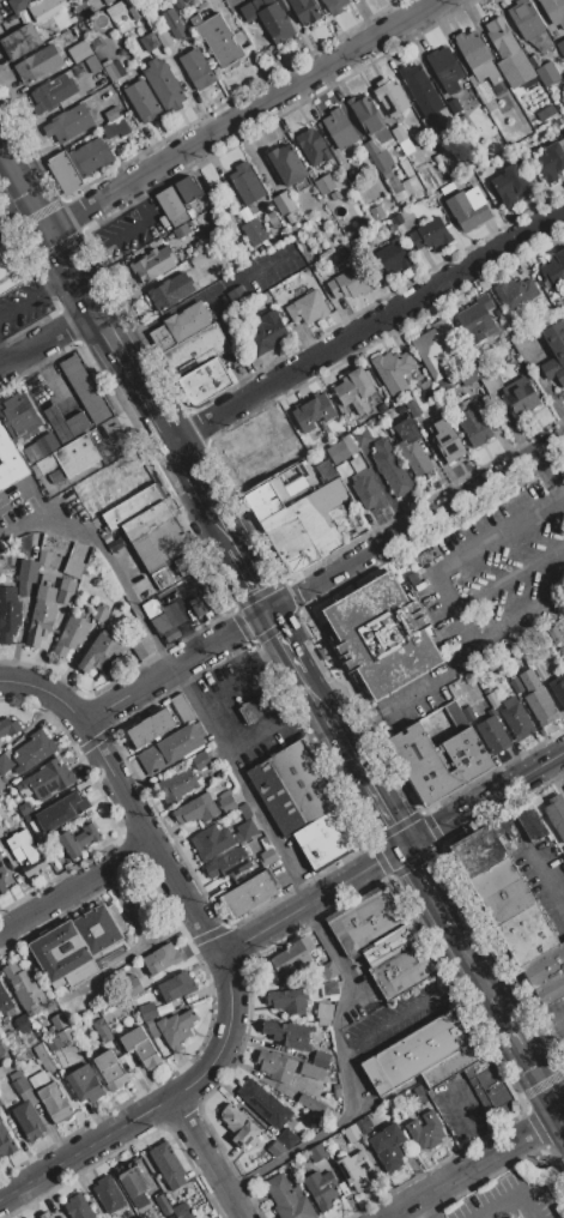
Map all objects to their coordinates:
building: (187, 1)
building: (109, 2)
building: (18, 4)
building: (178, 4)
building: (333, 6)
building: (46, 8)
building: (115, 11)
building: (135, 11)
building: (304, 11)
building: (553, 11)
building: (268, 18)
building: (526, 18)
building: (0, 20)
building: (177, 29)
building: (164, 38)
building: (217, 38)
building: (540, 41)
building: (20, 42)
building: (150, 42)
building: (560, 47)
building: (79, 50)
building: (508, 53)
building: (478, 59)
building: (37, 64)
building: (198, 68)
building: (444, 68)
building: (113, 70)
building: (546, 73)
building: (163, 84)
building: (563, 86)
building: (420, 90)
building: (51, 94)
building: (389, 96)
building: (562, 98)
building: (142, 101)
building: (111, 113)
building: (545, 113)
road: (241, 114)
building: (365, 114)
building: (67, 123)
building: (115, 128)
building: (339, 128)
building: (313, 146)
building: (377, 156)
building: (437, 158)
building: (551, 162)
building: (78, 163)
building: (287, 167)
building: (245, 182)
building: (325, 183)
building: (509, 185)
building: (392, 187)
building: (188, 188)
building: (334, 195)
building: (283, 203)
road: (13, 206)
building: (171, 206)
building: (468, 209)
building: (192, 212)
building: (377, 212)
building: (402, 217)
building: (253, 231)
building: (430, 234)
building: (388, 258)
building: (198, 260)
building: (152, 264)
building: (11, 265)
building: (553, 270)
building: (207, 281)
building: (347, 281)
road: (57, 283)
building: (170, 290)
building: (516, 293)
building: (236, 295)
road: (85, 296)
road: (199, 296)
road: (22, 304)
building: (307, 307)
building: (475, 316)
building: (187, 321)
road: (366, 326)
building: (267, 333)
road: (46, 336)
building: (160, 338)
building: (433, 346)
building: (195, 350)
building: (554, 352)
road: (1, 357)
building: (480, 366)
building: (393, 369)
building: (468, 378)
road: (48, 379)
building: (204, 380)
building: (447, 382)
building: (491, 382)
building: (84, 388)
building: (354, 390)
building: (520, 396)
building: (413, 408)
building: (313, 411)
building: (19, 416)
building: (66, 423)
building: (473, 426)
building: (443, 432)
road: (127, 433)
building: (360, 436)
building: (47, 445)
building: (259, 448)
building: (412, 448)
building: (336, 451)
building: (32, 454)
building: (71, 457)
building: (10, 460)
building: (392, 468)
building: (326, 470)
road: (550, 474)
building: (56, 476)
road: (193, 481)
building: (365, 486)
building: (278, 492)
road: (563, 496)
road: (416, 521)
building: (307, 526)
road: (497, 532)
building: (153, 535)
road: (105, 560)
road: (243, 563)
building: (73, 568)
building: (28, 569)
road: (508, 577)
building: (194, 586)
building: (24, 587)
building: (65, 592)
building: (201, 605)
road: (450, 605)
building: (151, 609)
traffic signals: (269, 610)
building: (8, 613)
building: (99, 614)
road: (516, 614)
building: (42, 615)
building: (160, 623)
building: (72, 634)
building: (553, 634)
building: (382, 635)
road: (287, 640)
building: (140, 649)
building: (99, 653)
building: (562, 656)
road: (175, 665)
road: (241, 669)
building: (540, 673)
building: (558, 689)
road: (46, 692)
road: (410, 693)
building: (536, 698)
building: (492, 699)
road: (325, 703)
road: (200, 706)
building: (182, 707)
building: (255, 707)
building: (468, 713)
building: (516, 718)
road: (272, 722)
building: (8, 726)
building: (150, 728)
building: (493, 734)
building: (170, 749)
building: (34, 750)
road: (559, 753)
road: (356, 755)
building: (201, 760)
building: (437, 761)
building: (5, 764)
road: (524, 773)
building: (48, 779)
building: (1, 785)
building: (177, 785)
building: (293, 788)
building: (226, 802)
building: (25, 808)
building: (196, 809)
building: (61, 810)
building: (244, 810)
road: (386, 810)
building: (556, 814)
road: (450, 818)
road: (510, 818)
building: (528, 820)
road: (266, 825)
building: (503, 827)
building: (245, 828)
building: (329, 838)
road: (147, 839)
building: (78, 840)
building: (211, 842)
building: (263, 843)
traffic signals: (406, 845)
building: (479, 850)
building: (25, 852)
building: (267, 857)
building: (229, 863)
road: (545, 875)
building: (1, 879)
road: (425, 879)
road: (74, 887)
building: (503, 891)
building: (249, 893)
road: (311, 899)
building: (368, 918)
road: (453, 922)
building: (528, 934)
building: (392, 942)
building: (78, 945)
road: (469, 953)
building: (291, 955)
building: (160, 958)
building: (405, 969)
building: (326, 971)
building: (547, 973)
road: (344, 975)
road: (462, 978)
building: (131, 984)
building: (176, 987)
building: (25, 988)
road: (491, 989)
building: (329, 990)
building: (286, 1001)
building: (5, 1002)
building: (147, 1012)
building: (323, 1013)
road: (393, 1020)
building: (59, 1021)
building: (23, 1023)
building: (176, 1029)
building: (102, 1030)
building: (290, 1032)
building: (66, 1037)
building: (2, 1045)
building: (140, 1045)
building: (419, 1050)
road: (529, 1054)
building: (43, 1056)
building: (320, 1059)
building: (275, 1066)
building: (110, 1068)
building: (313, 1071)
building: (19, 1081)
building: (85, 1084)
road: (346, 1085)
building: (51, 1097)
road: (560, 1101)
building: (263, 1103)
road: (156, 1105)
road: (560, 1109)
building: (28, 1120)
road: (467, 1122)
building: (238, 1126)
building: (364, 1126)
building: (425, 1129)
building: (351, 1133)
building: (286, 1138)
building: (6, 1142)
building: (388, 1146)
building: (316, 1151)
road: (289, 1153)
road: (207, 1157)
road: (473, 1164)
building: (168, 1165)
building: (354, 1169)
building: (129, 1180)
building: (321, 1189)
building: (109, 1195)
road: (504, 1195)
building: (287, 1199)
road: (425, 1206)
building: (78, 1207)
building: (180, 1210)
building: (46, 1214)
building: (186, 1216)

